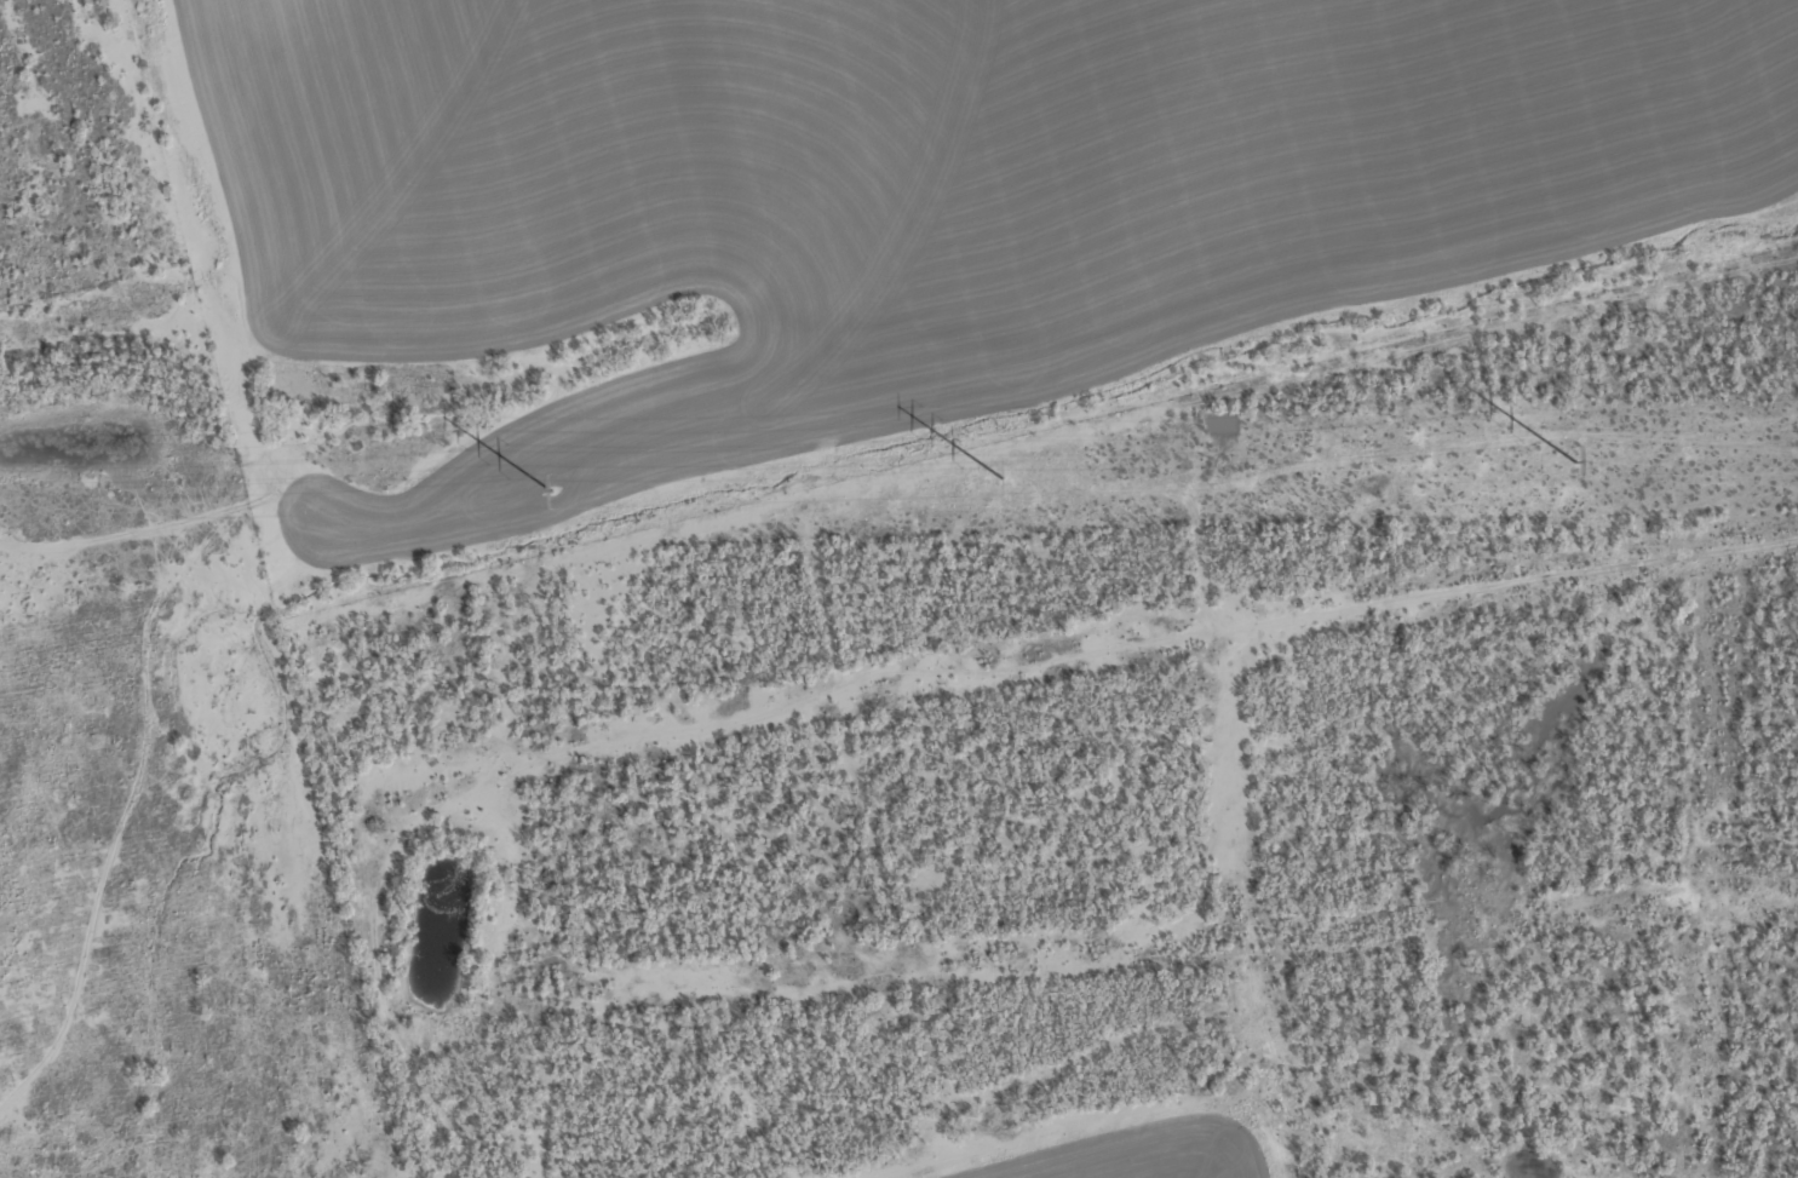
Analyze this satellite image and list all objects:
power tower: (1576, 462)
power tower: (1003, 478)
power tower: (551, 490)
road: (817, 590)

